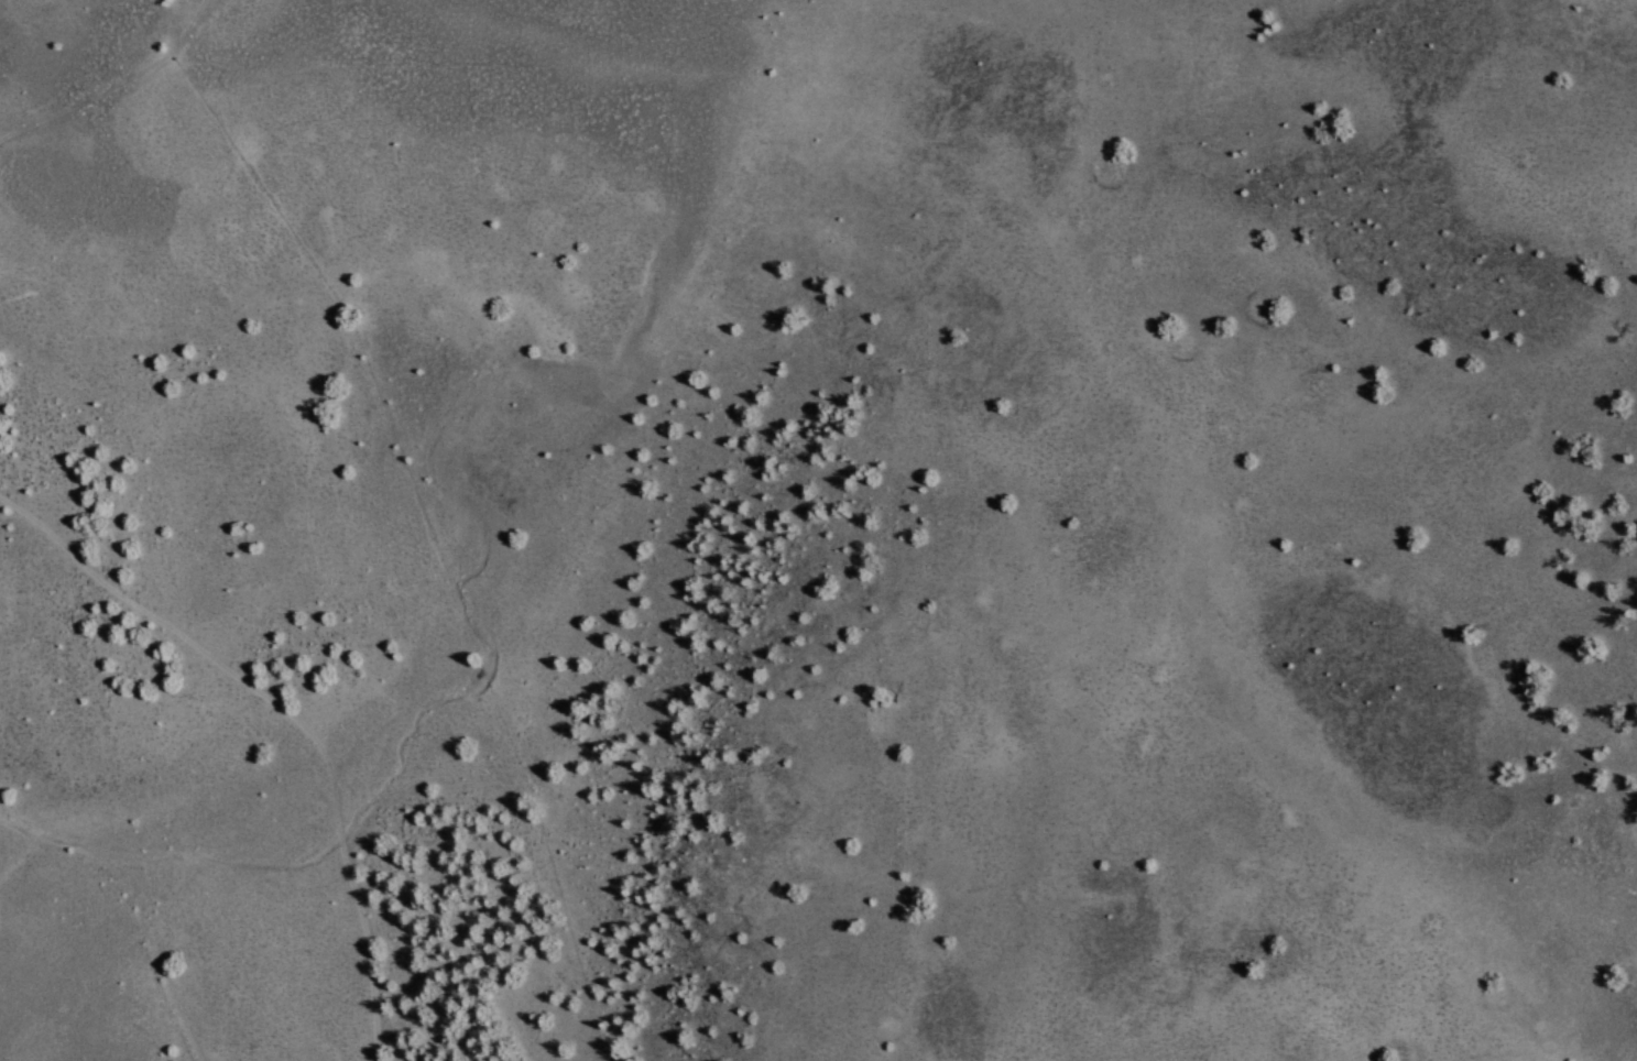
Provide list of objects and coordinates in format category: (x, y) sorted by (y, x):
road: (119, 88)
road: (291, 717)

